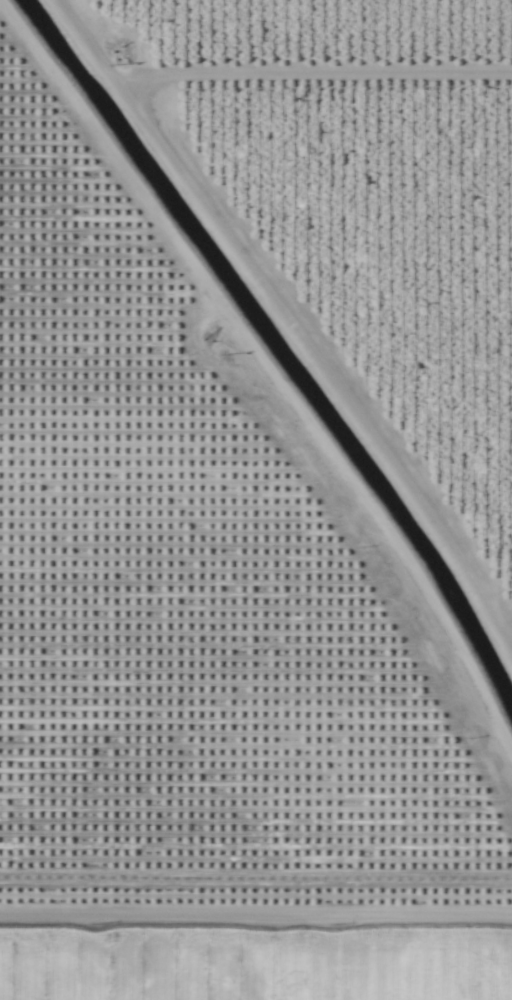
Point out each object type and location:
road: (308, 264)
road: (262, 426)
crop: (256, 500)
road: (256, 924)

